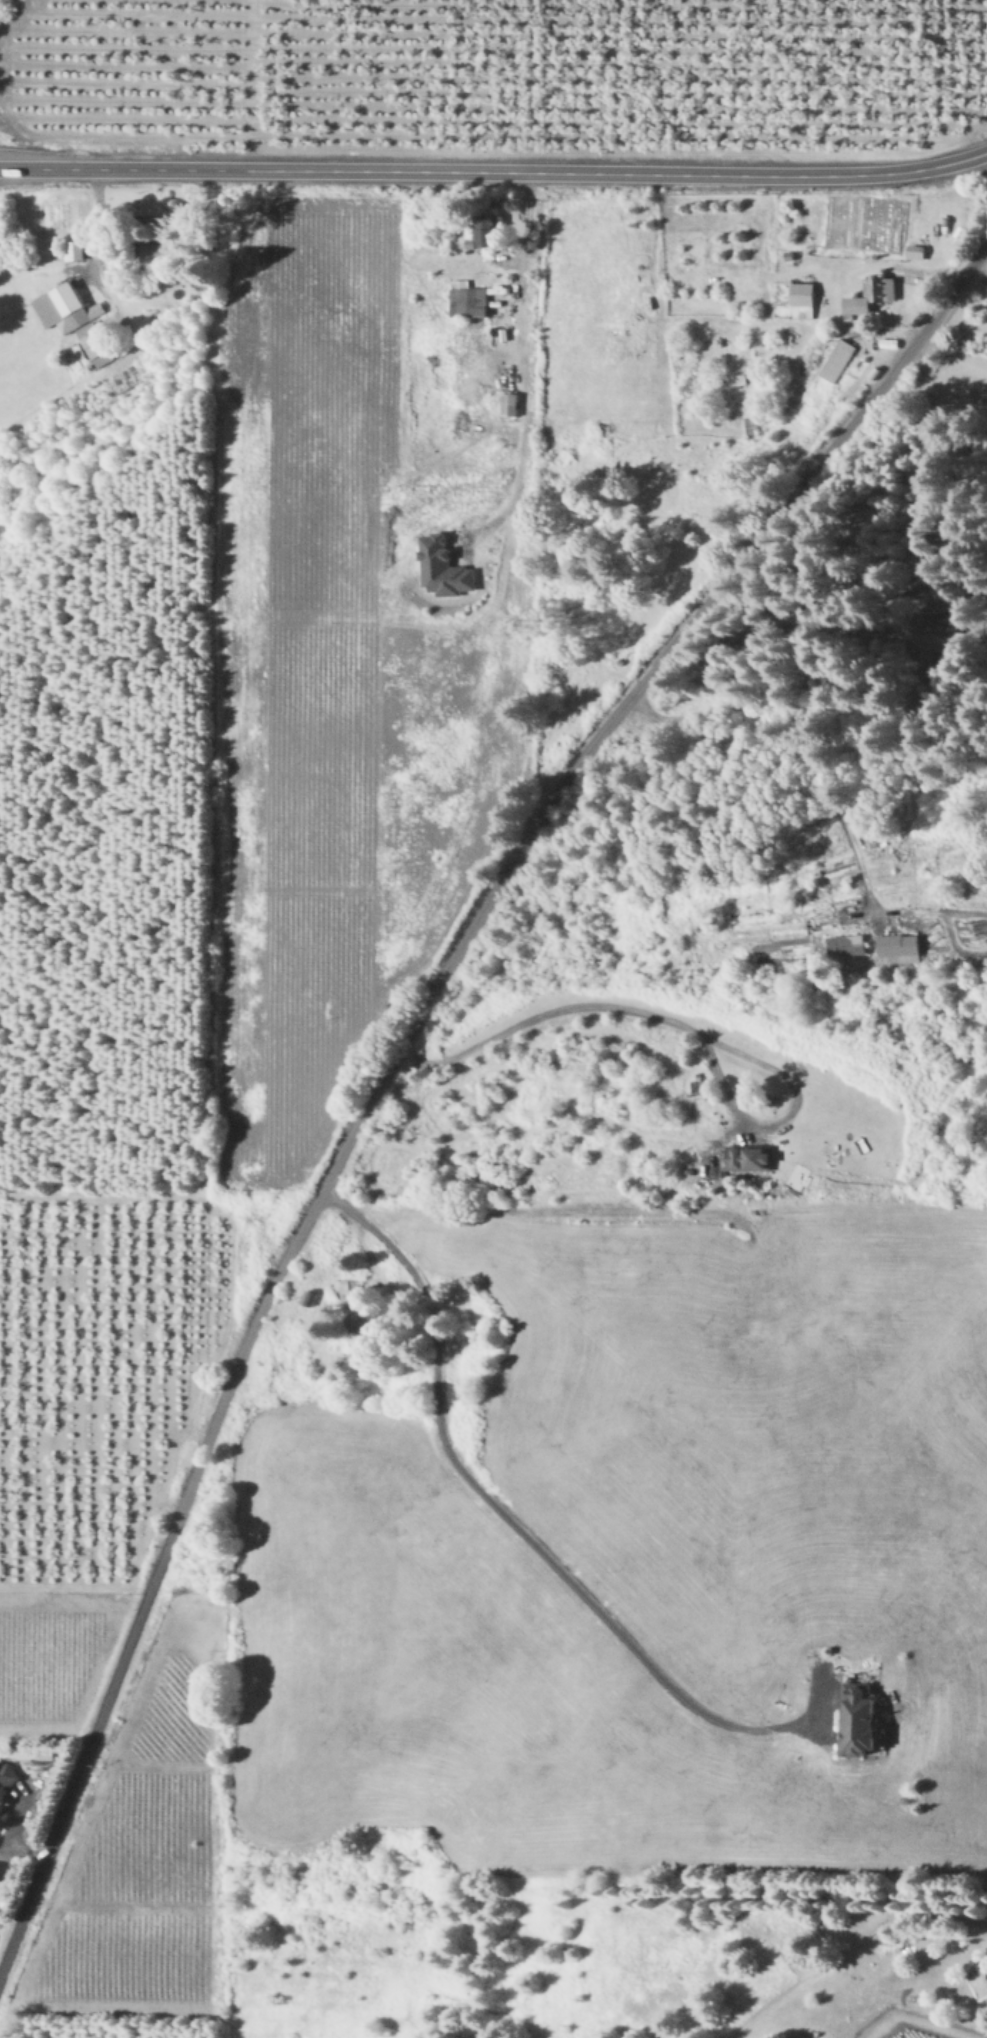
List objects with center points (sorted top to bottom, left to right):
road: (494, 172)
building: (487, 231)
building: (76, 250)
building: (917, 250)
building: (870, 294)
building: (803, 299)
building: (469, 300)
building: (74, 306)
building: (48, 308)
building: (95, 343)
building: (837, 359)
road: (521, 367)
building: (510, 403)
crop: (413, 532)
building: (443, 567)
road: (797, 769)
building: (846, 945)
building: (898, 948)
road: (684, 1028)
road: (394, 1048)
building: (749, 1157)
building: (348, 1291)
crop: (577, 1599)
crop: (40, 1687)
building: (861, 1719)
building: (4, 1784)

